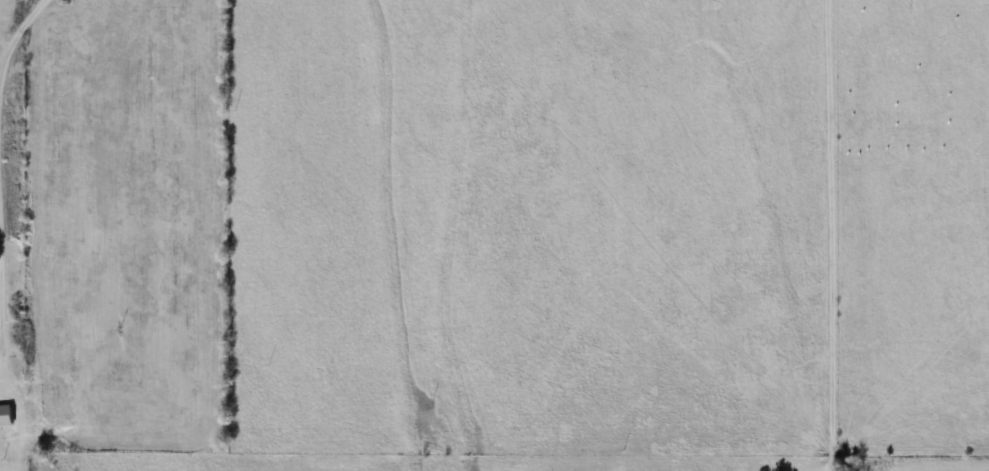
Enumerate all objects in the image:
road: (13, 44)
road: (0, 223)
road: (5, 326)

